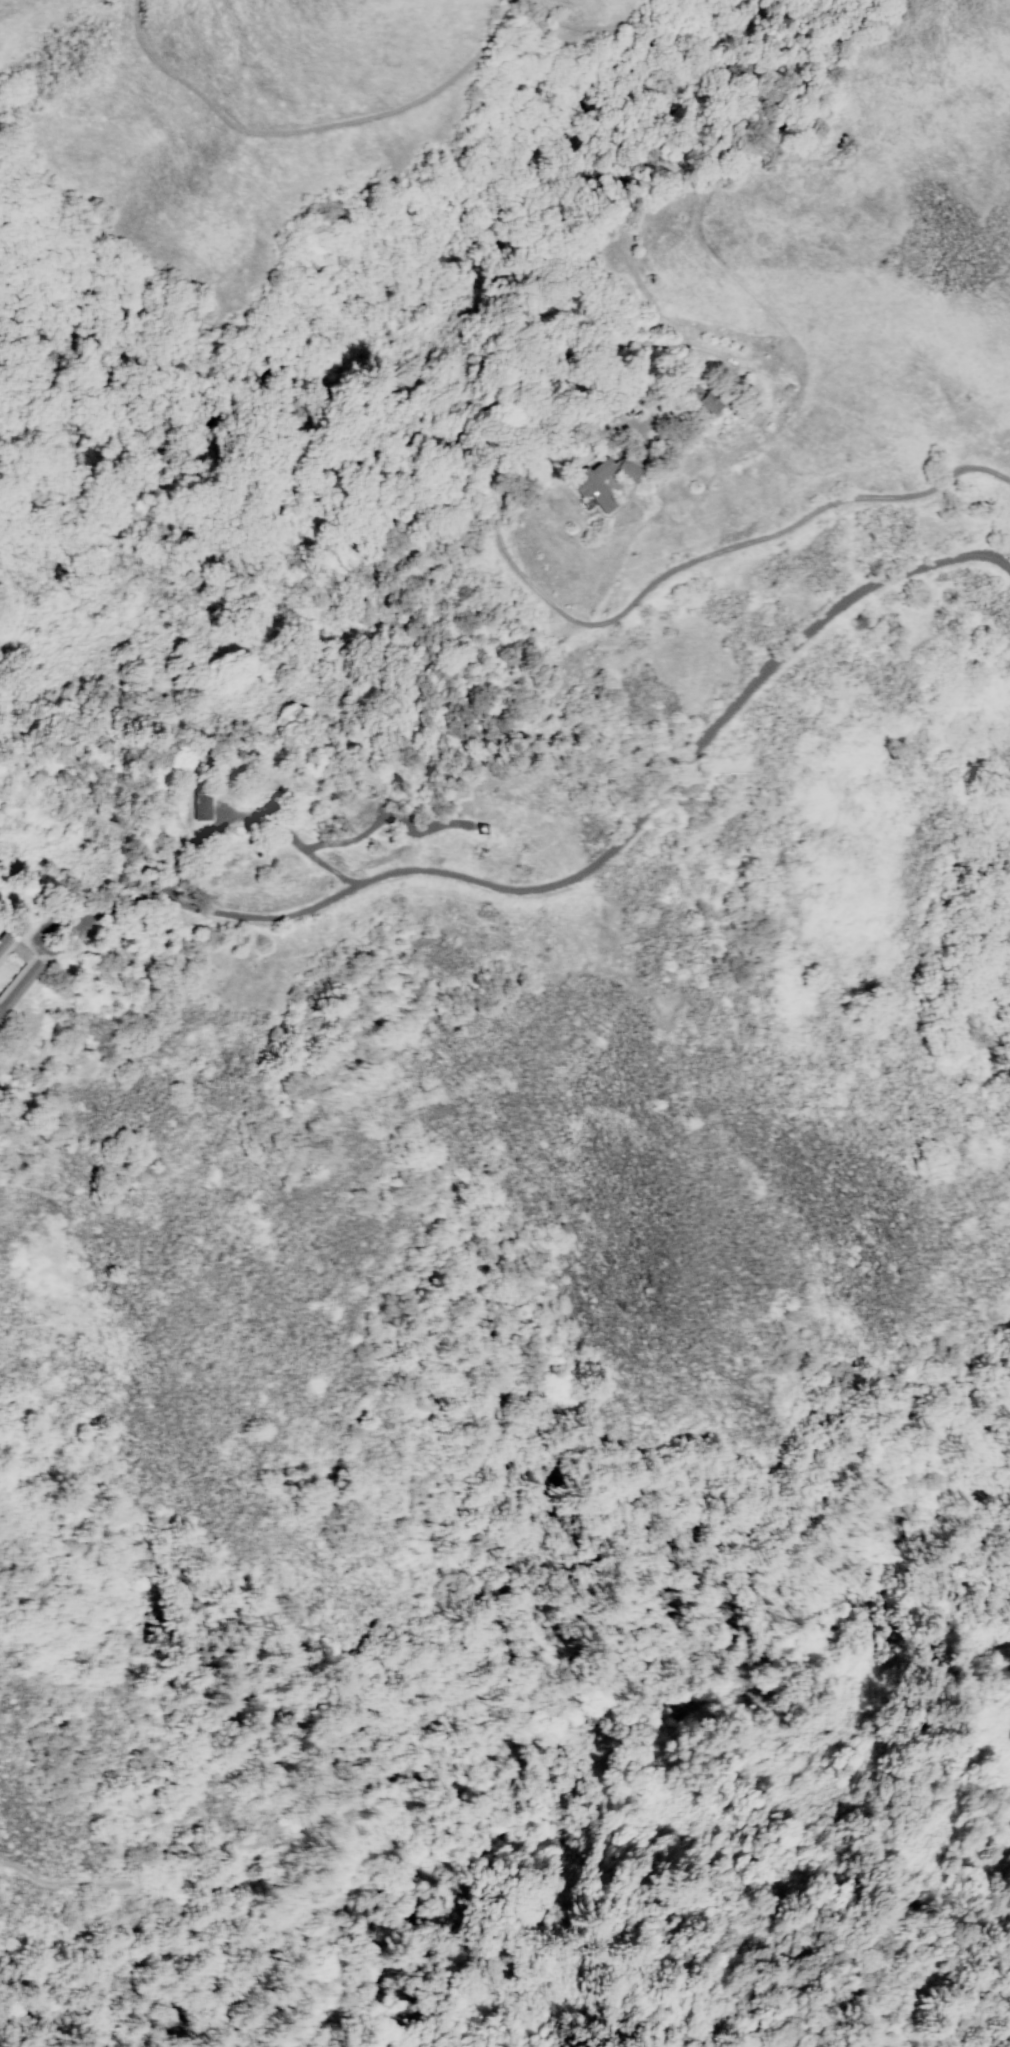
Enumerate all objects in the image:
road: (257, 142)
building: (712, 403)
road: (712, 548)
building: (199, 807)
road: (576, 873)
building: (21, 984)
building: (2, 1013)
road: (116, 1034)
road: (280, 1713)

